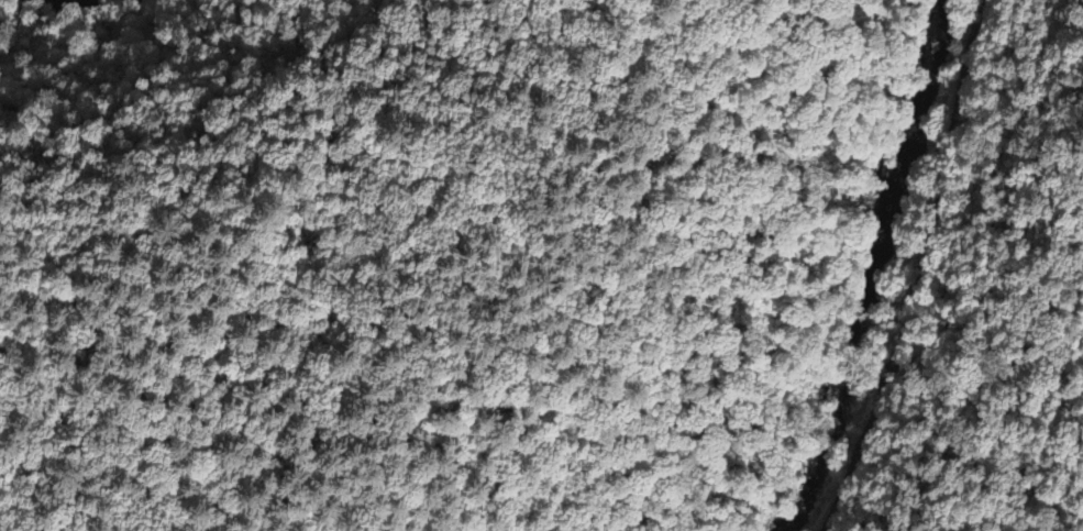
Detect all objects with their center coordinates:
river: (849, 268)
road: (919, 272)

